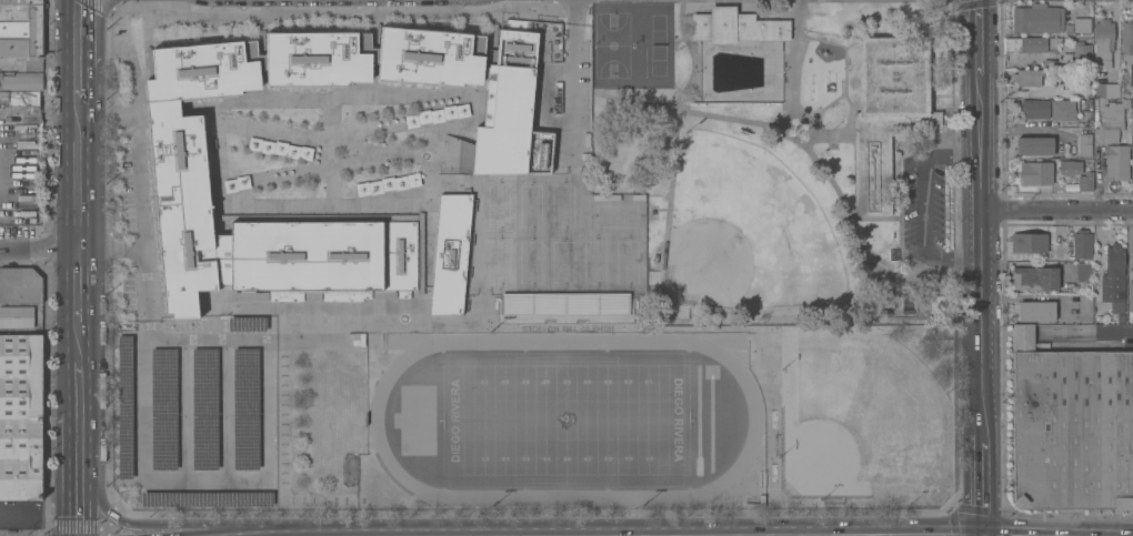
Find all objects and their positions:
road: (575, 12)
road: (235, 17)
building: (1036, 20)
building: (1081, 26)
building: (736, 27)
building: (20, 28)
road: (76, 33)
building: (1126, 37)
building: (1102, 43)
building: (1025, 44)
building: (1079, 54)
building: (429, 57)
building: (317, 60)
road: (980, 62)
building: (203, 71)
building: (1131, 74)
building: (1026, 78)
building: (20, 81)
road: (77, 84)
building: (1105, 91)
road: (574, 93)
building: (21, 99)
building: (507, 104)
building: (1034, 109)
building: (1061, 110)
building: (886, 112)
building: (434, 115)
building: (1111, 121)
road: (1031, 123)
building: (1132, 128)
building: (1083, 145)
building: (1033, 148)
building: (453, 155)
park: (783, 158)
road: (1097, 159)
building: (1115, 161)
building: (1132, 161)
building: (1069, 168)
road: (77, 174)
building: (1034, 174)
building: (1084, 182)
building: (385, 184)
building: (182, 206)
road: (925, 210)
road: (1053, 211)
building: (1027, 242)
building: (1081, 245)
road: (39, 247)
road: (139, 252)
building: (1132, 252)
building: (315, 254)
building: (450, 254)
building: (585, 263)
building: (1082, 275)
building: (1033, 279)
building: (1112, 279)
road: (976, 281)
building: (19, 284)
road: (78, 284)
building: (1130, 295)
park: (892, 301)
building: (1084, 307)
building: (1035, 312)
building: (16, 317)
road: (1107, 336)
road: (78, 342)
road: (78, 387)
building: (126, 407)
building: (163, 407)
building: (204, 408)
building: (245, 408)
building: (19, 416)
track: (374, 419)
park: (564, 421)
building: (1071, 426)
road: (78, 452)
road: (982, 486)
building: (207, 498)
road: (16, 509)
road: (77, 513)
road: (151, 526)
road: (284, 530)

